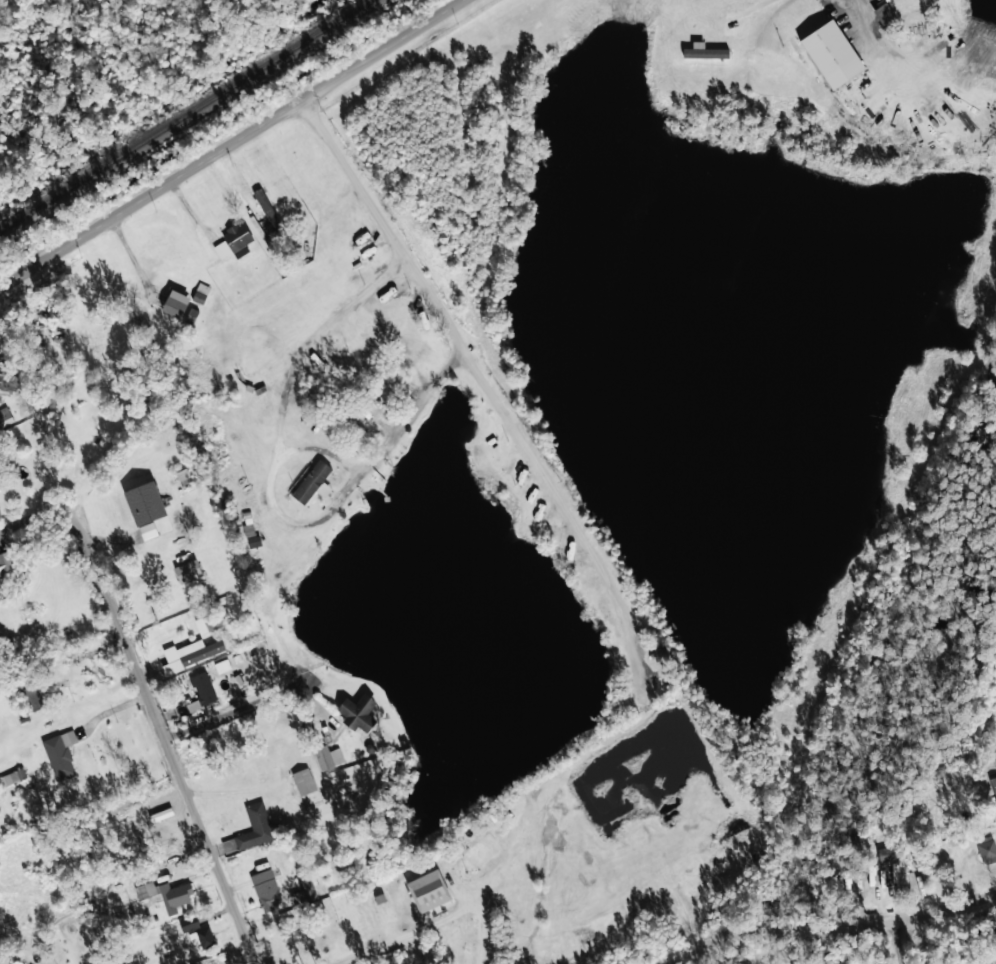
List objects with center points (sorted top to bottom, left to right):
building: (702, 53)
building: (831, 54)
road: (922, 55)
railway: (184, 113)
road: (226, 138)
building: (237, 239)
building: (175, 304)
building: (367, 412)
building: (313, 483)
building: (145, 508)
road: (39, 513)
building: (6, 563)
building: (187, 571)
building: (0, 587)
building: (208, 623)
building: (190, 654)
building: (201, 690)
building: (32, 698)
building: (357, 713)
road: (159, 729)
building: (60, 754)
building: (327, 757)
building: (12, 777)
building: (303, 782)
building: (994, 792)
building: (255, 827)
building: (986, 849)
building: (891, 853)
building: (148, 889)
building: (266, 889)
building: (429, 891)
building: (304, 892)
building: (174, 897)
road: (832, 922)
building: (189, 924)
building: (201, 938)
road: (901, 942)

